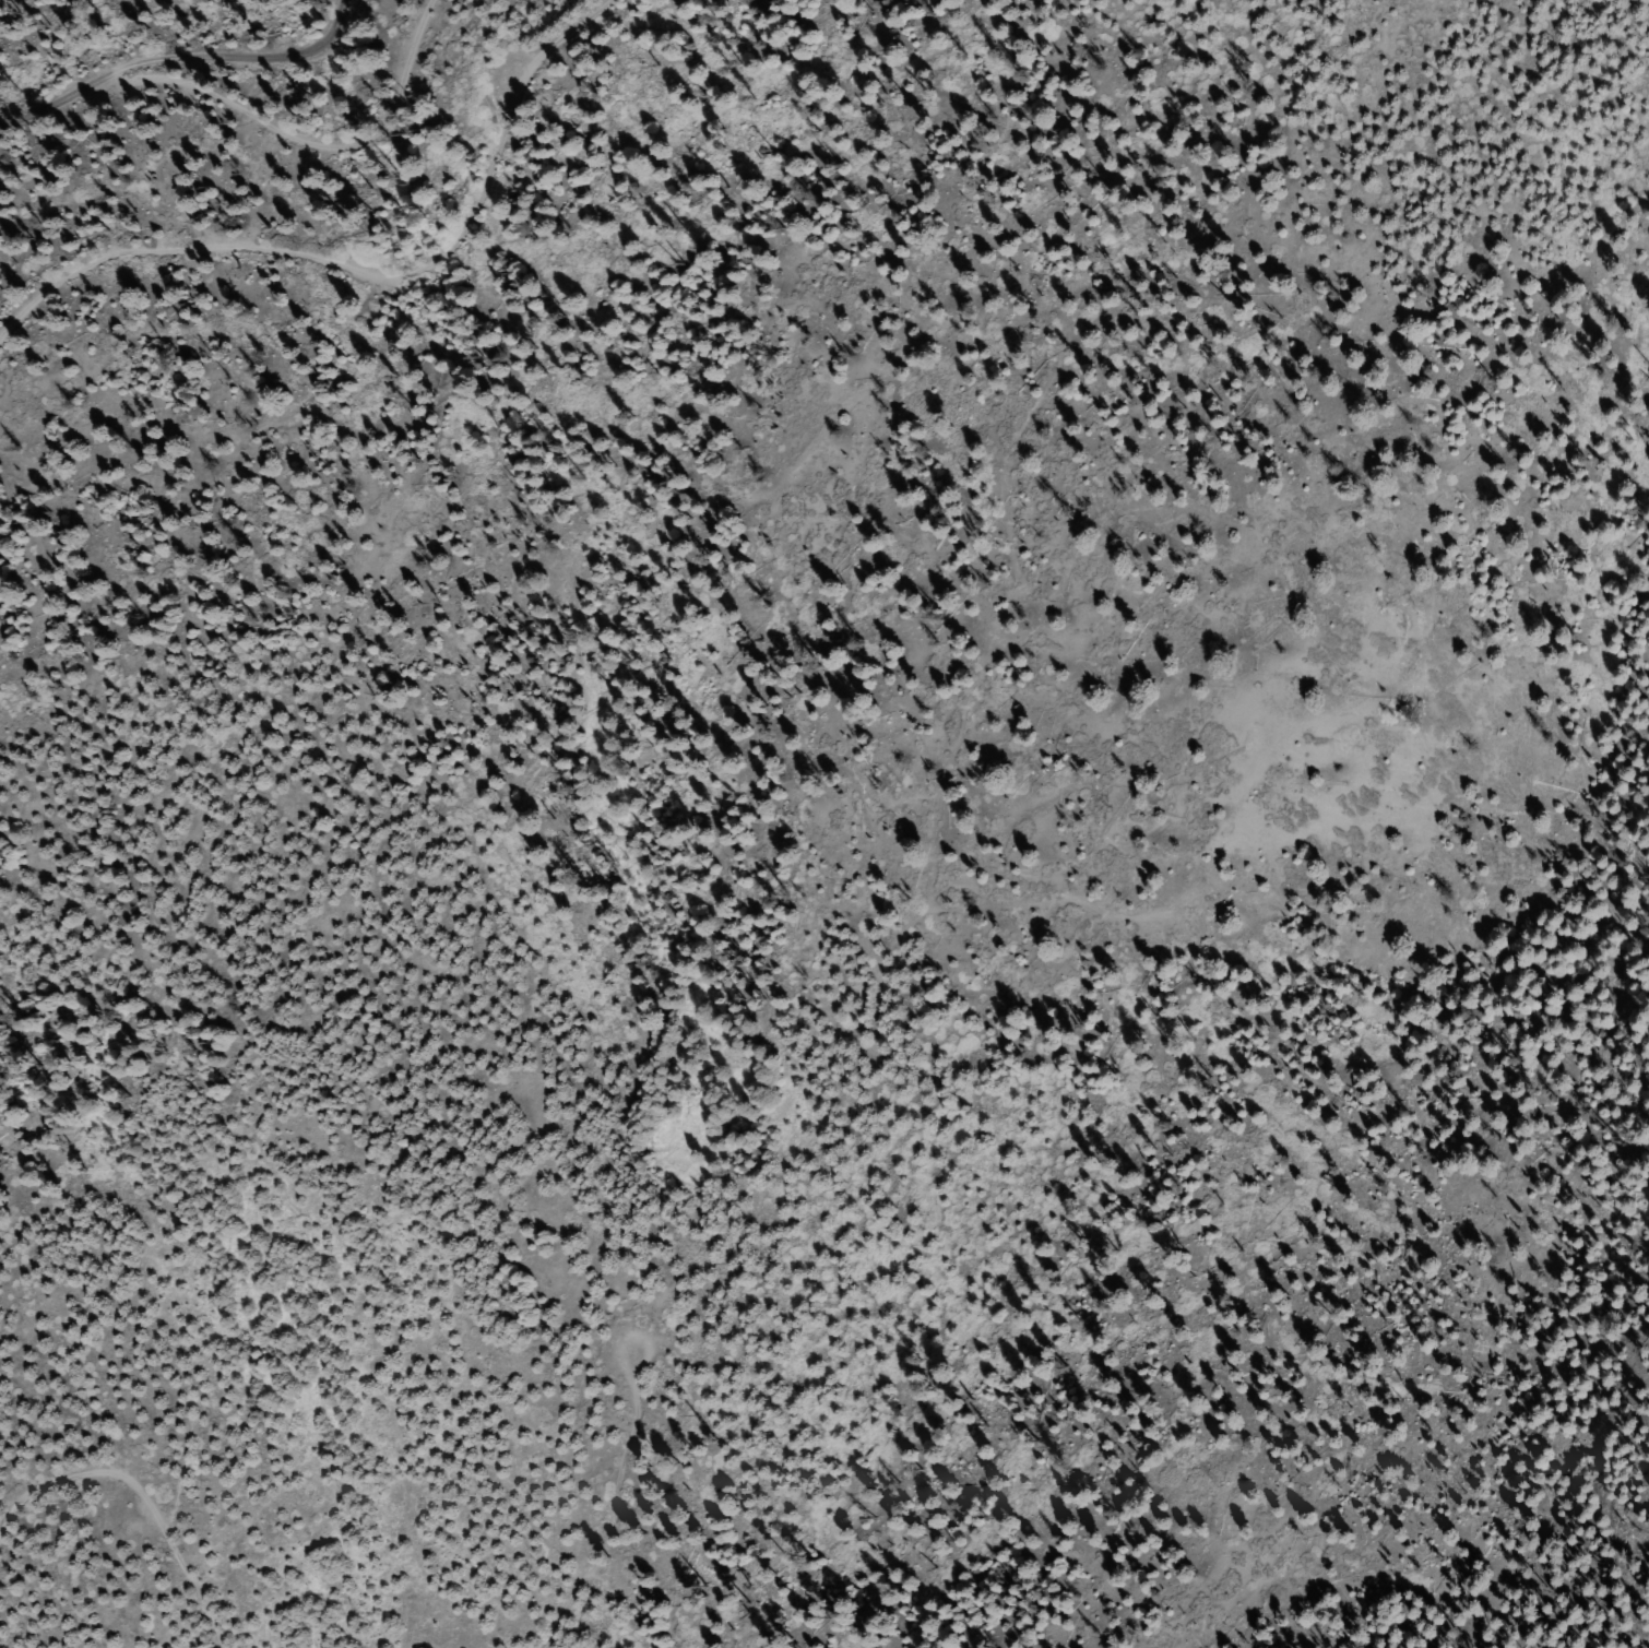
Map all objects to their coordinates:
road: (180, 56)
road: (311, 142)
road: (371, 286)
road: (726, 1266)
road: (131, 1513)

